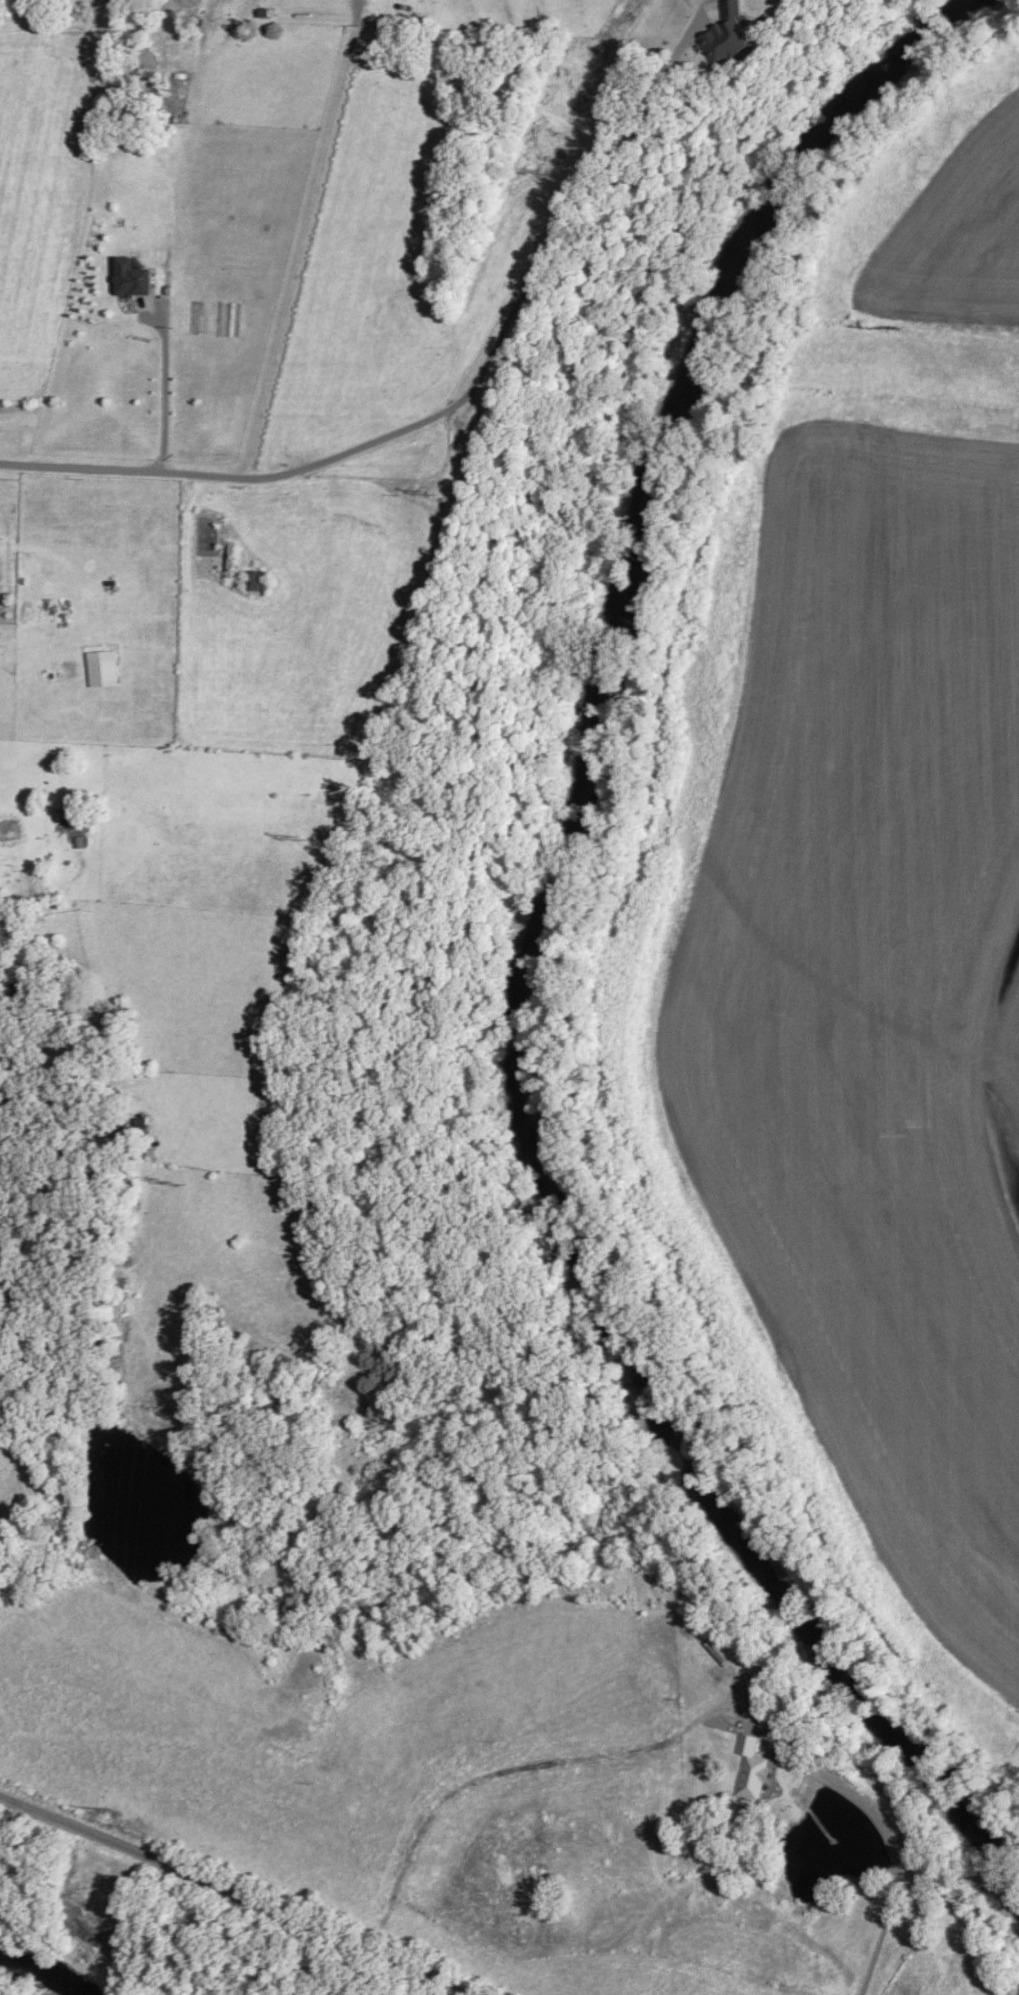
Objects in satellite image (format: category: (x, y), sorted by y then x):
building: (722, 36)
power tower: (544, 170)
road: (159, 397)
road: (292, 470)
power tower: (422, 489)
building: (206, 531)
building: (228, 560)
building: (251, 582)
power tower: (295, 836)
river: (507, 967)
building: (138, 1126)
power tower: (160, 1176)
building: (748, 1768)
power tower: (107, 1805)
road: (228, 1893)
river: (34, 1976)

